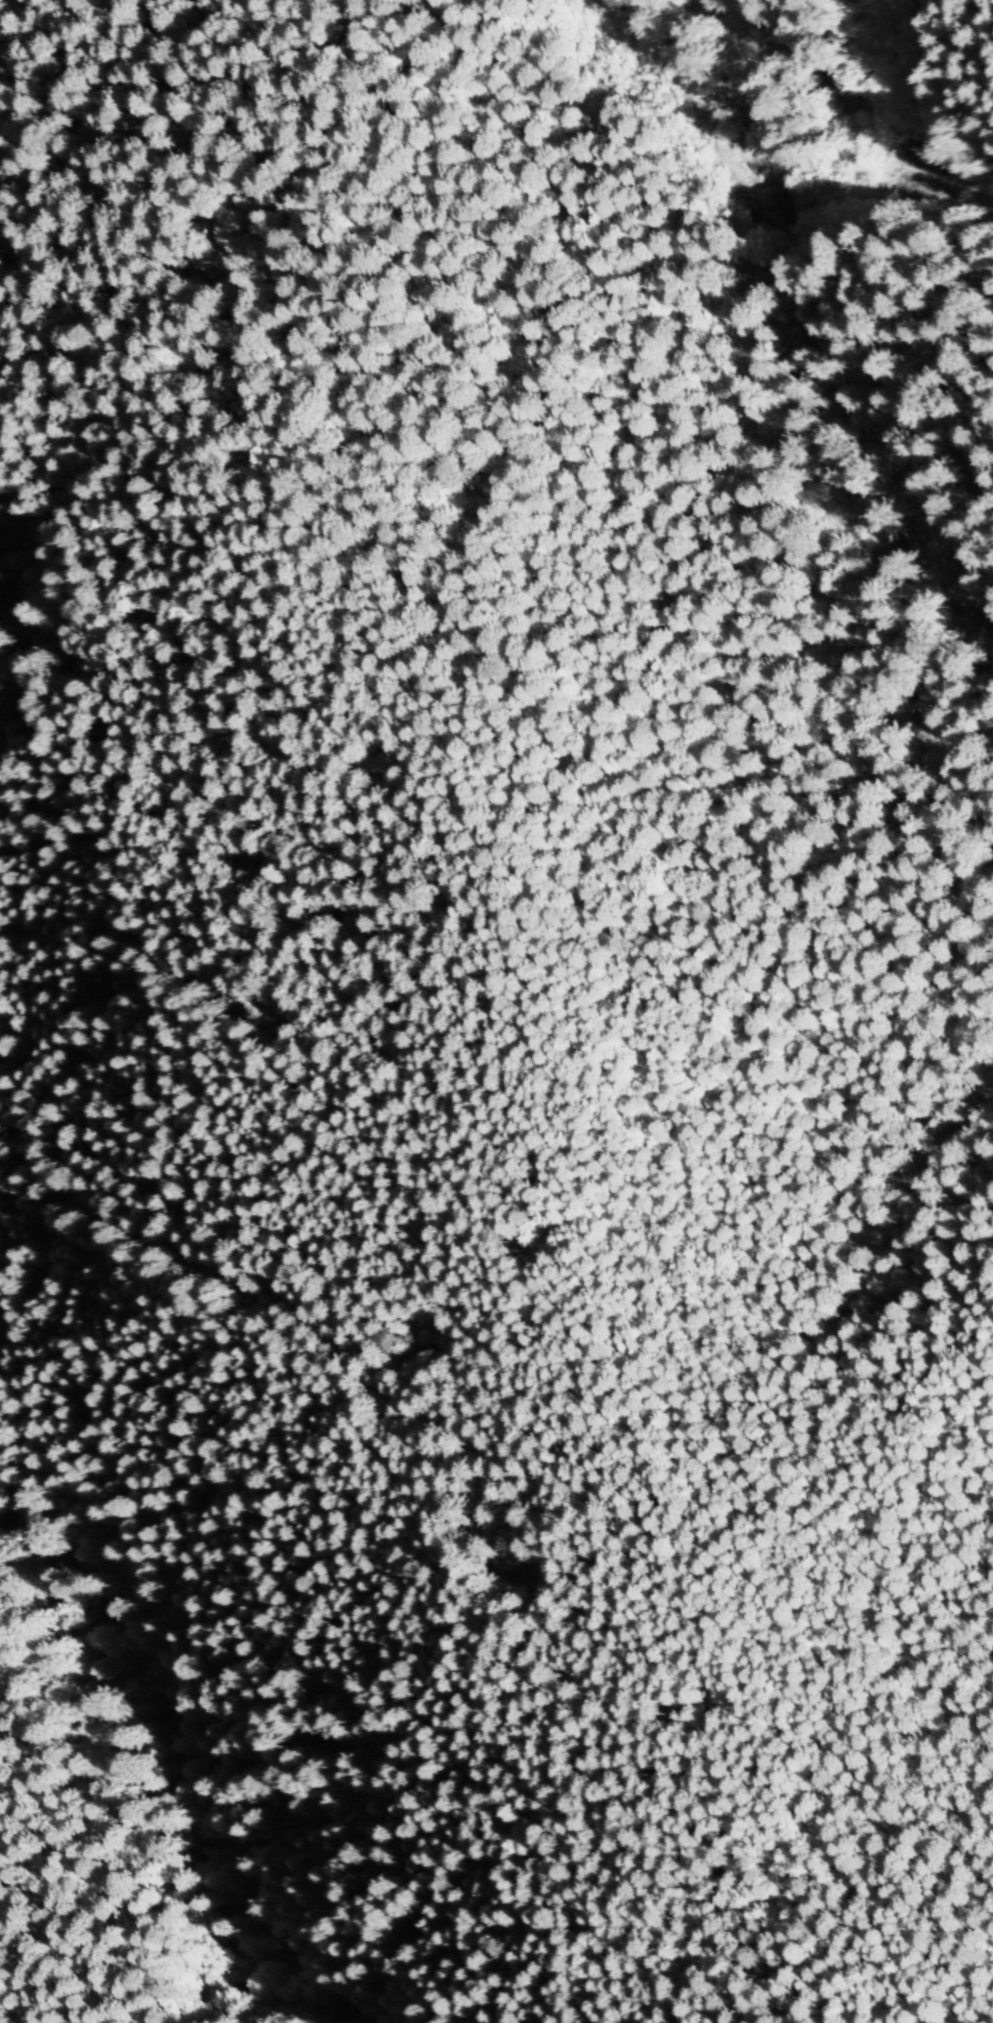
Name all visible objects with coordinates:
road: (829, 228)

